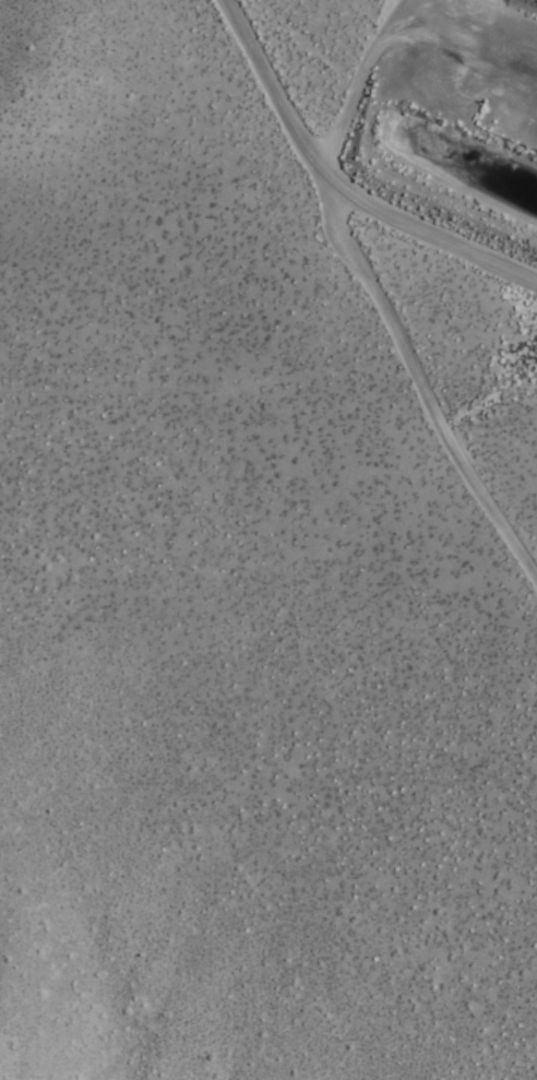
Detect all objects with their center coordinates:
road: (426, 248)
road: (369, 310)

